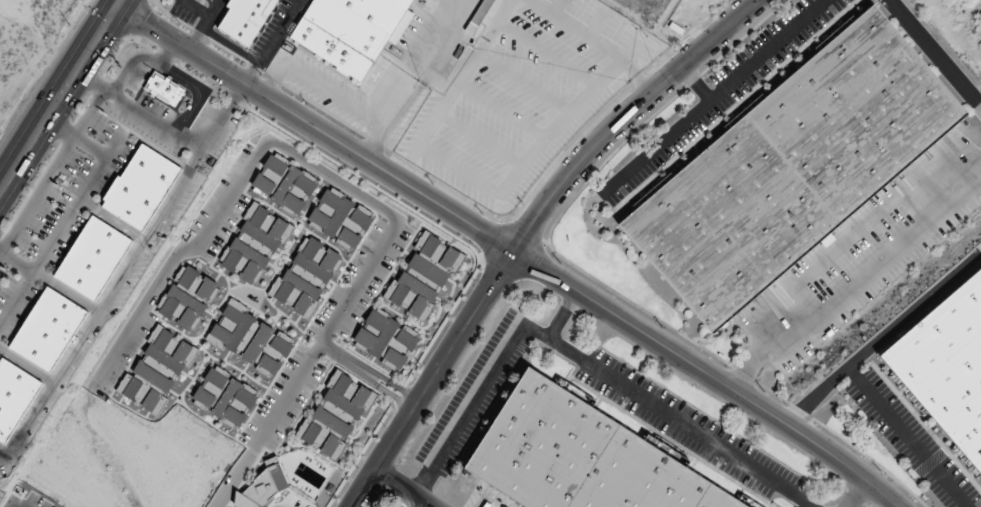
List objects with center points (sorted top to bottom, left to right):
traffic signals: (118, 6)
building: (478, 16)
building: (244, 18)
power tower: (68, 25)
building: (350, 30)
road: (169, 50)
road: (934, 54)
road: (130, 62)
road: (694, 83)
building: (162, 89)
road: (60, 95)
road: (712, 97)
road: (168, 129)
road: (77, 137)
building: (792, 169)
road: (51, 170)
building: (284, 185)
building: (139, 187)
road: (225, 201)
building: (339, 219)
road: (61, 230)
road: (527, 231)
building: (254, 246)
road: (513, 249)
building: (91, 258)
road: (17, 262)
building: (423, 276)
building: (306, 277)
building: (188, 298)
road: (563, 316)
building: (46, 330)
road: (325, 333)
road: (883, 338)
building: (250, 340)
building: (385, 340)
road: (577, 359)
building: (946, 367)
building: (157, 371)
road: (367, 373)
building: (13, 397)
building: (225, 398)
building: (336, 416)
road: (907, 437)
building: (577, 457)
road: (235, 476)
building: (262, 487)
road: (403, 487)
road: (856, 493)

